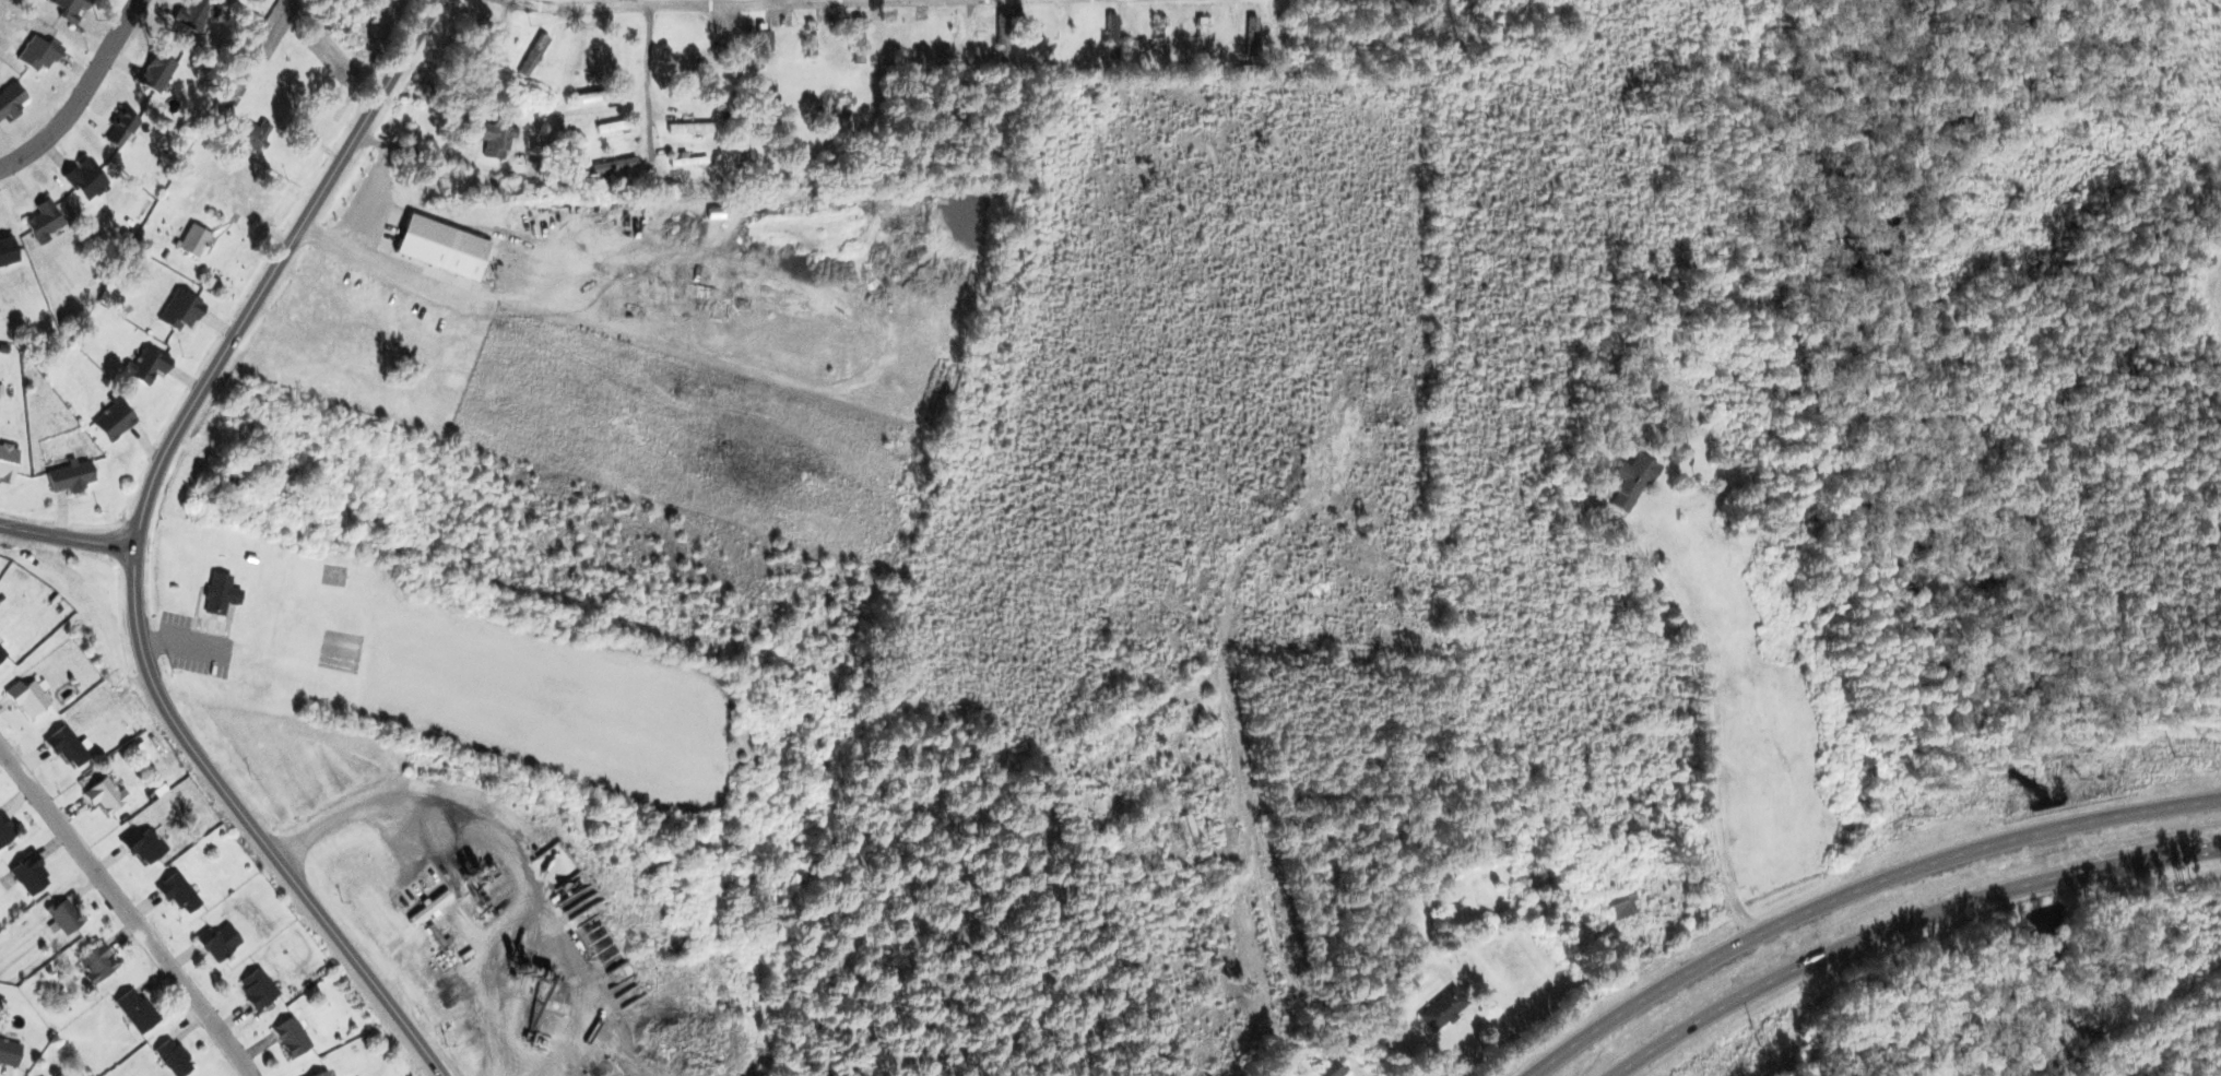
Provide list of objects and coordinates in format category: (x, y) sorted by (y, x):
road: (678, 3)
road: (647, 75)
road: (80, 93)
building: (5, 111)
building: (689, 126)
building: (494, 137)
building: (84, 178)
building: (43, 221)
building: (194, 239)
building: (441, 247)
building: (7, 250)
building: (180, 310)
building: (145, 364)
building: (114, 419)
building: (7, 462)
building: (70, 475)
building: (1632, 481)
road: (67, 539)
road: (134, 546)
building: (218, 593)
building: (28, 696)
road: (1712, 723)
building: (66, 745)
building: (105, 795)
building: (1186, 829)
building: (5, 830)
building: (142, 844)
building: (29, 874)
road: (1856, 889)
building: (177, 891)
building: (1620, 903)
building: (428, 908)
road: (127, 910)
building: (64, 915)
road: (1894, 919)
building: (217, 942)
building: (97, 963)
building: (257, 988)
building: (1443, 1008)
building: (137, 1009)
road: (1398, 1018)
building: (291, 1037)
building: (9, 1052)
building: (174, 1057)
building: (320, 1073)

